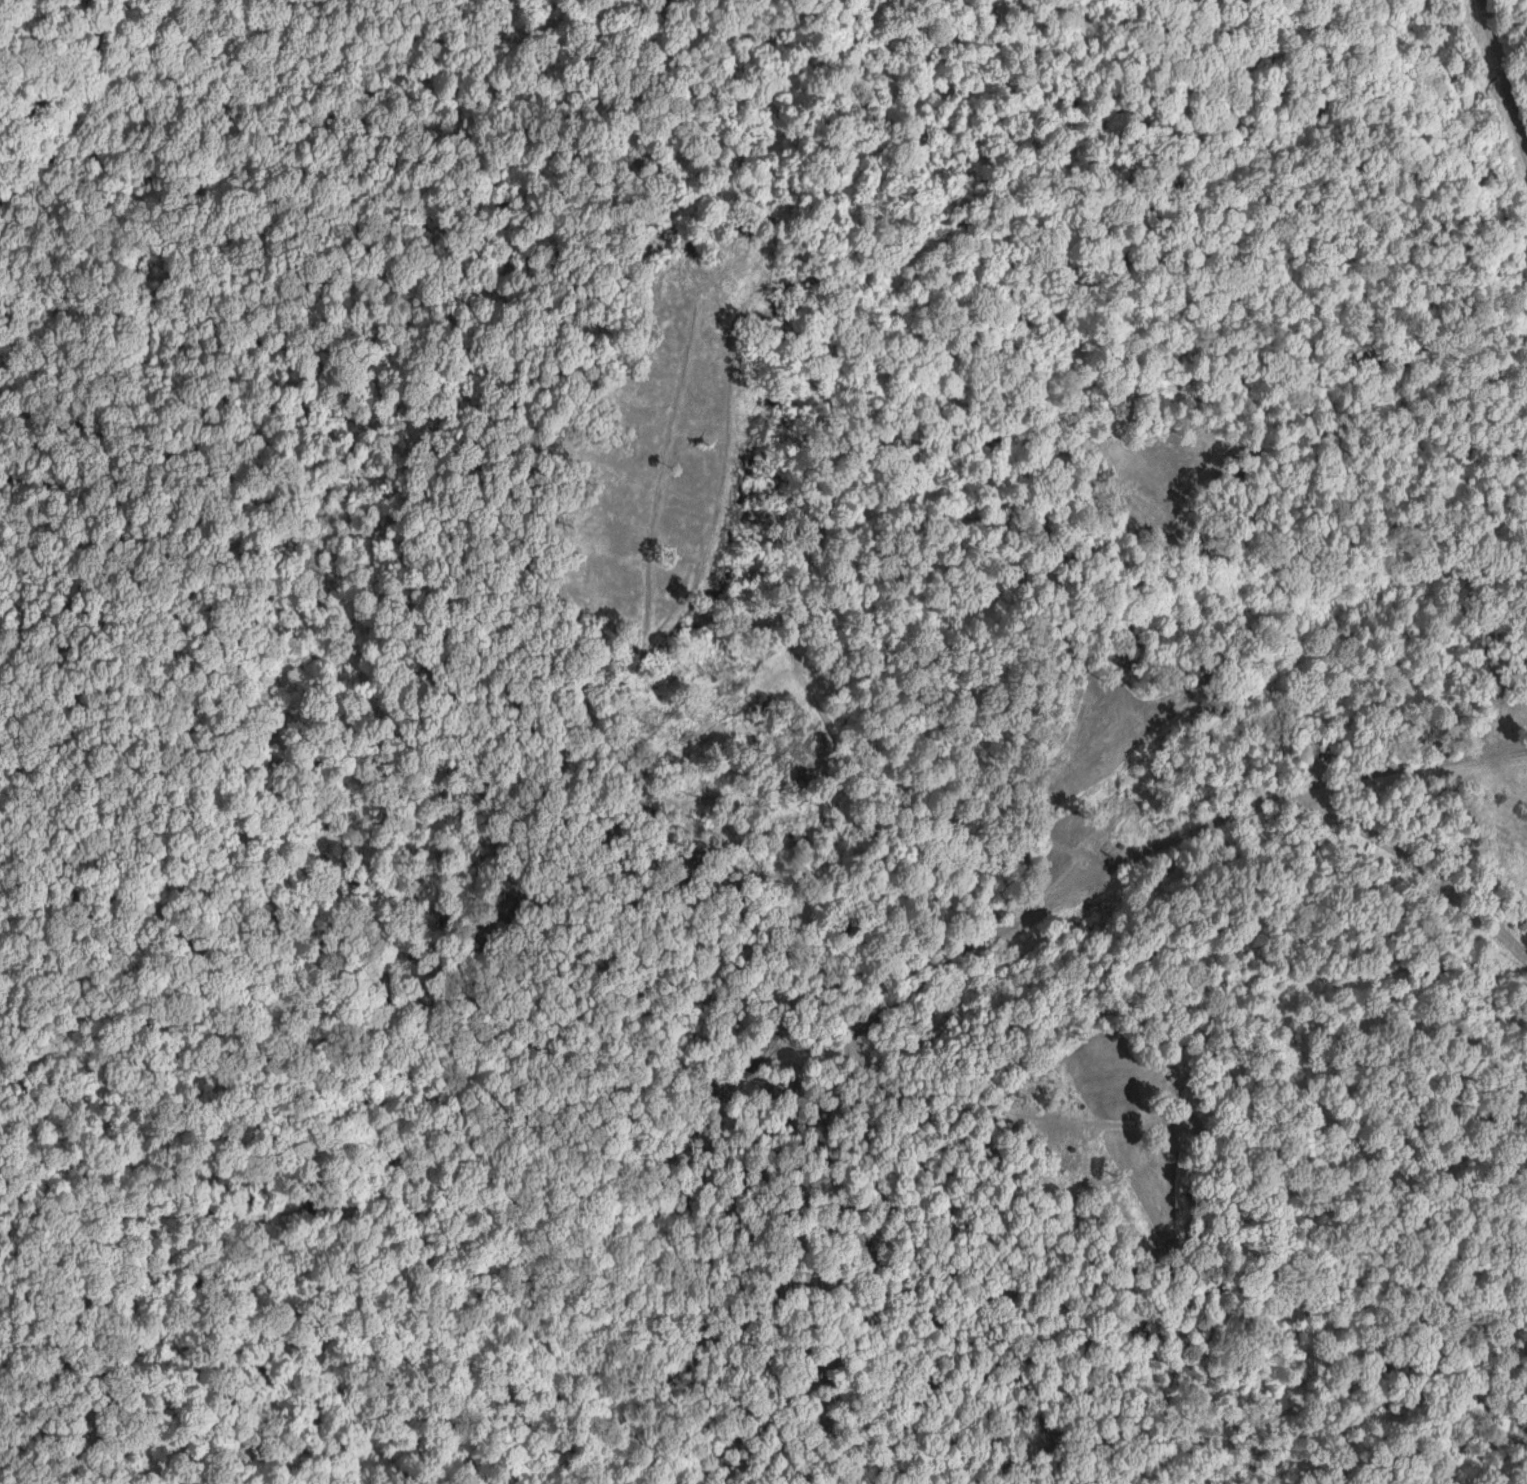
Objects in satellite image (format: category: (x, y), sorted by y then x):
road: (1504, 76)

